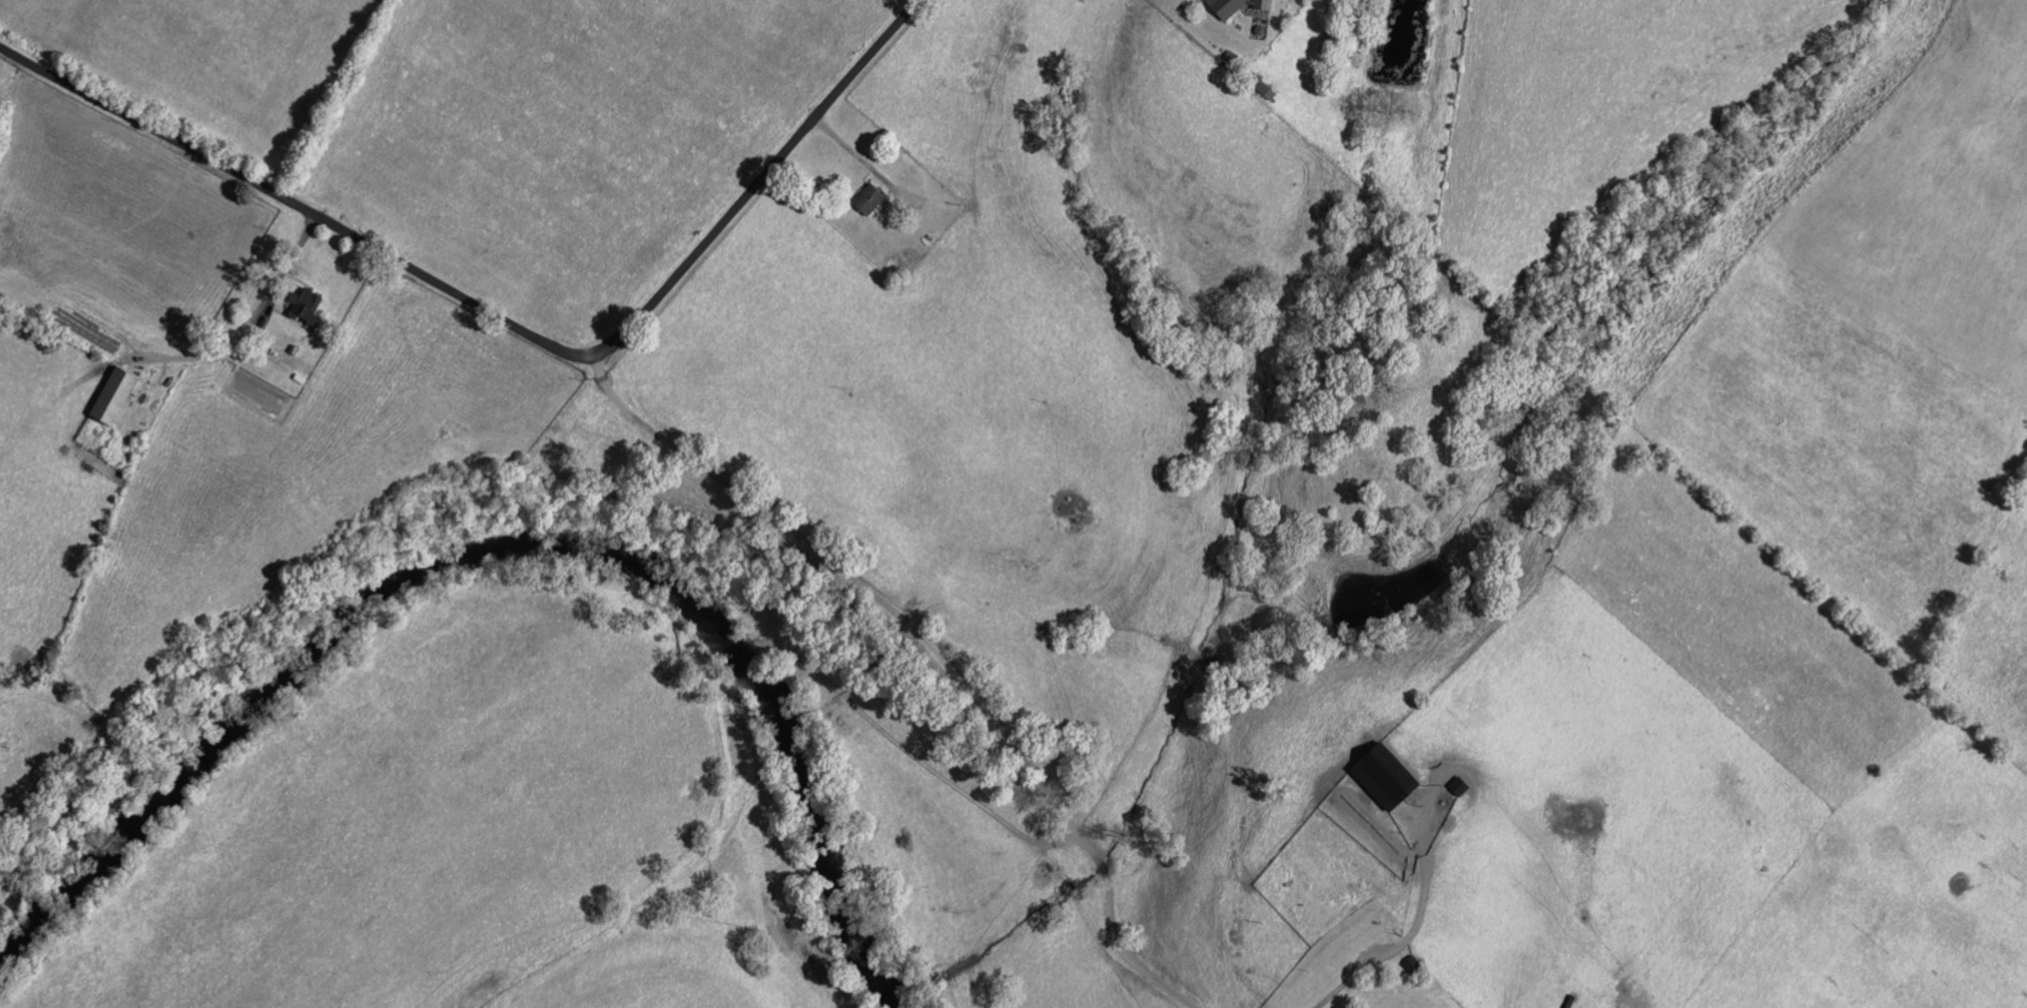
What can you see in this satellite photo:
building: (1262, 5)
building: (1226, 8)
building: (869, 200)
building: (306, 307)
road: (511, 319)
road: (246, 325)
building: (116, 396)
road: (934, 650)
building: (1385, 777)
road: (1419, 928)

